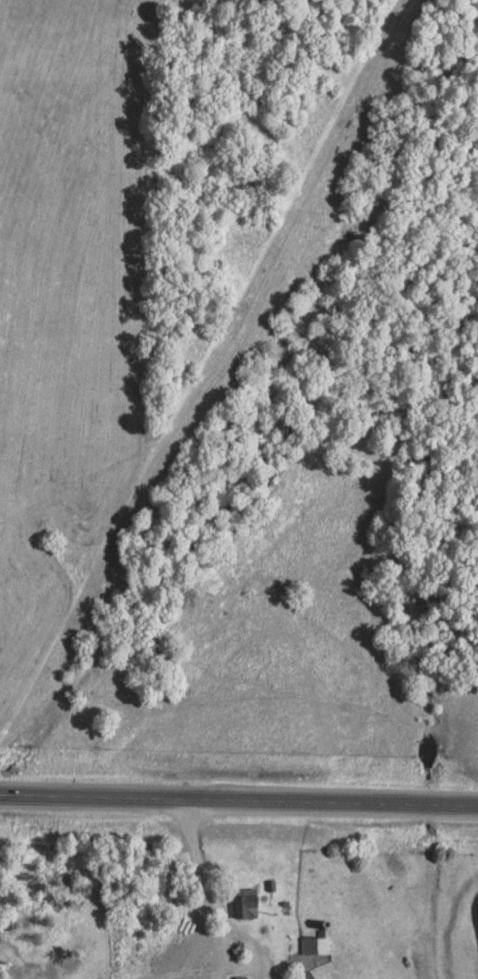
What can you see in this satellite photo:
road: (238, 801)
road: (199, 868)
building: (242, 907)
building: (314, 947)

